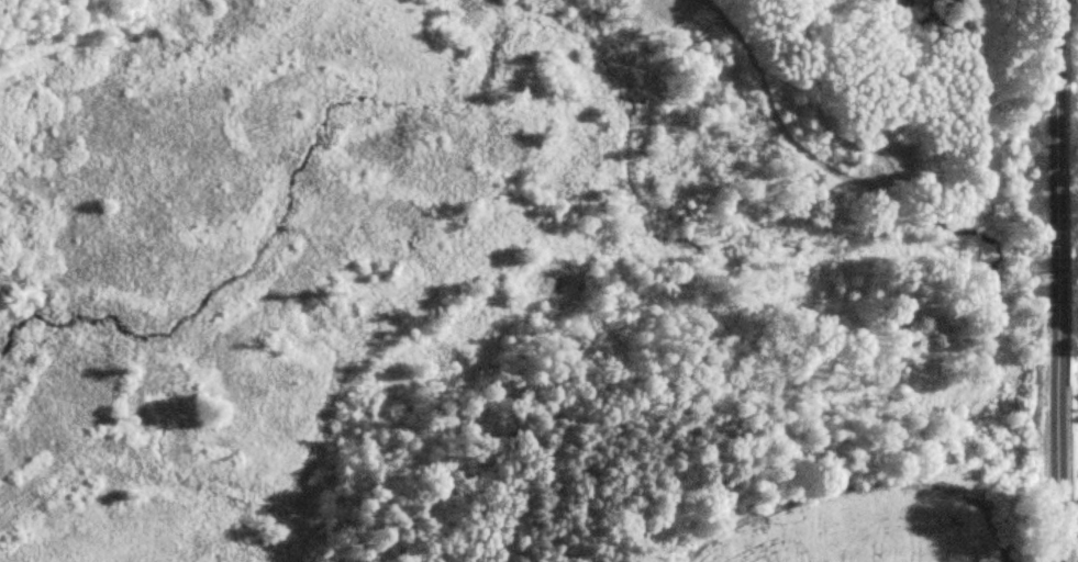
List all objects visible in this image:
road: (1054, 281)

